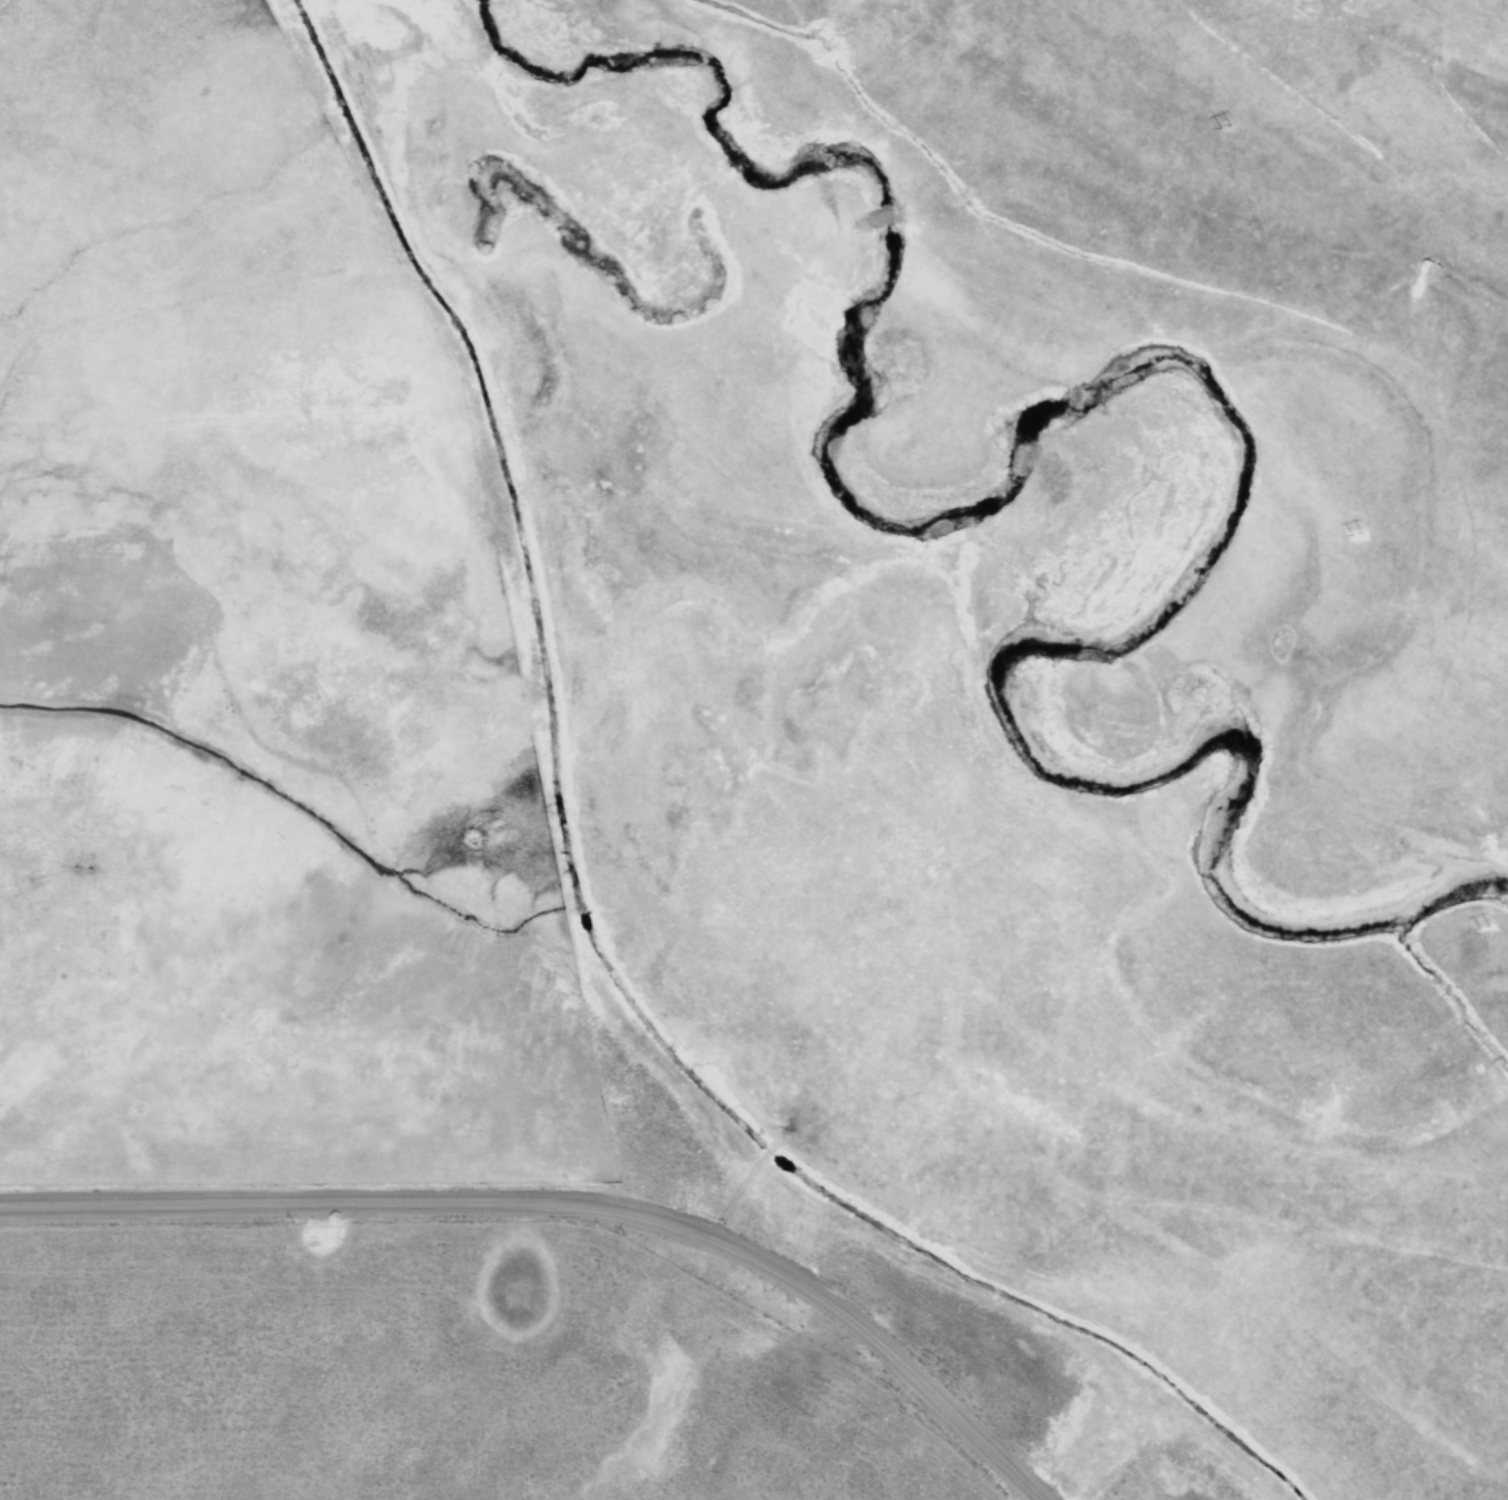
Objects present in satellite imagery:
power tower: (1213, 132)
river: (1197, 369)
power tower: (1347, 538)
power tower: (1475, 933)
road: (540, 1250)

